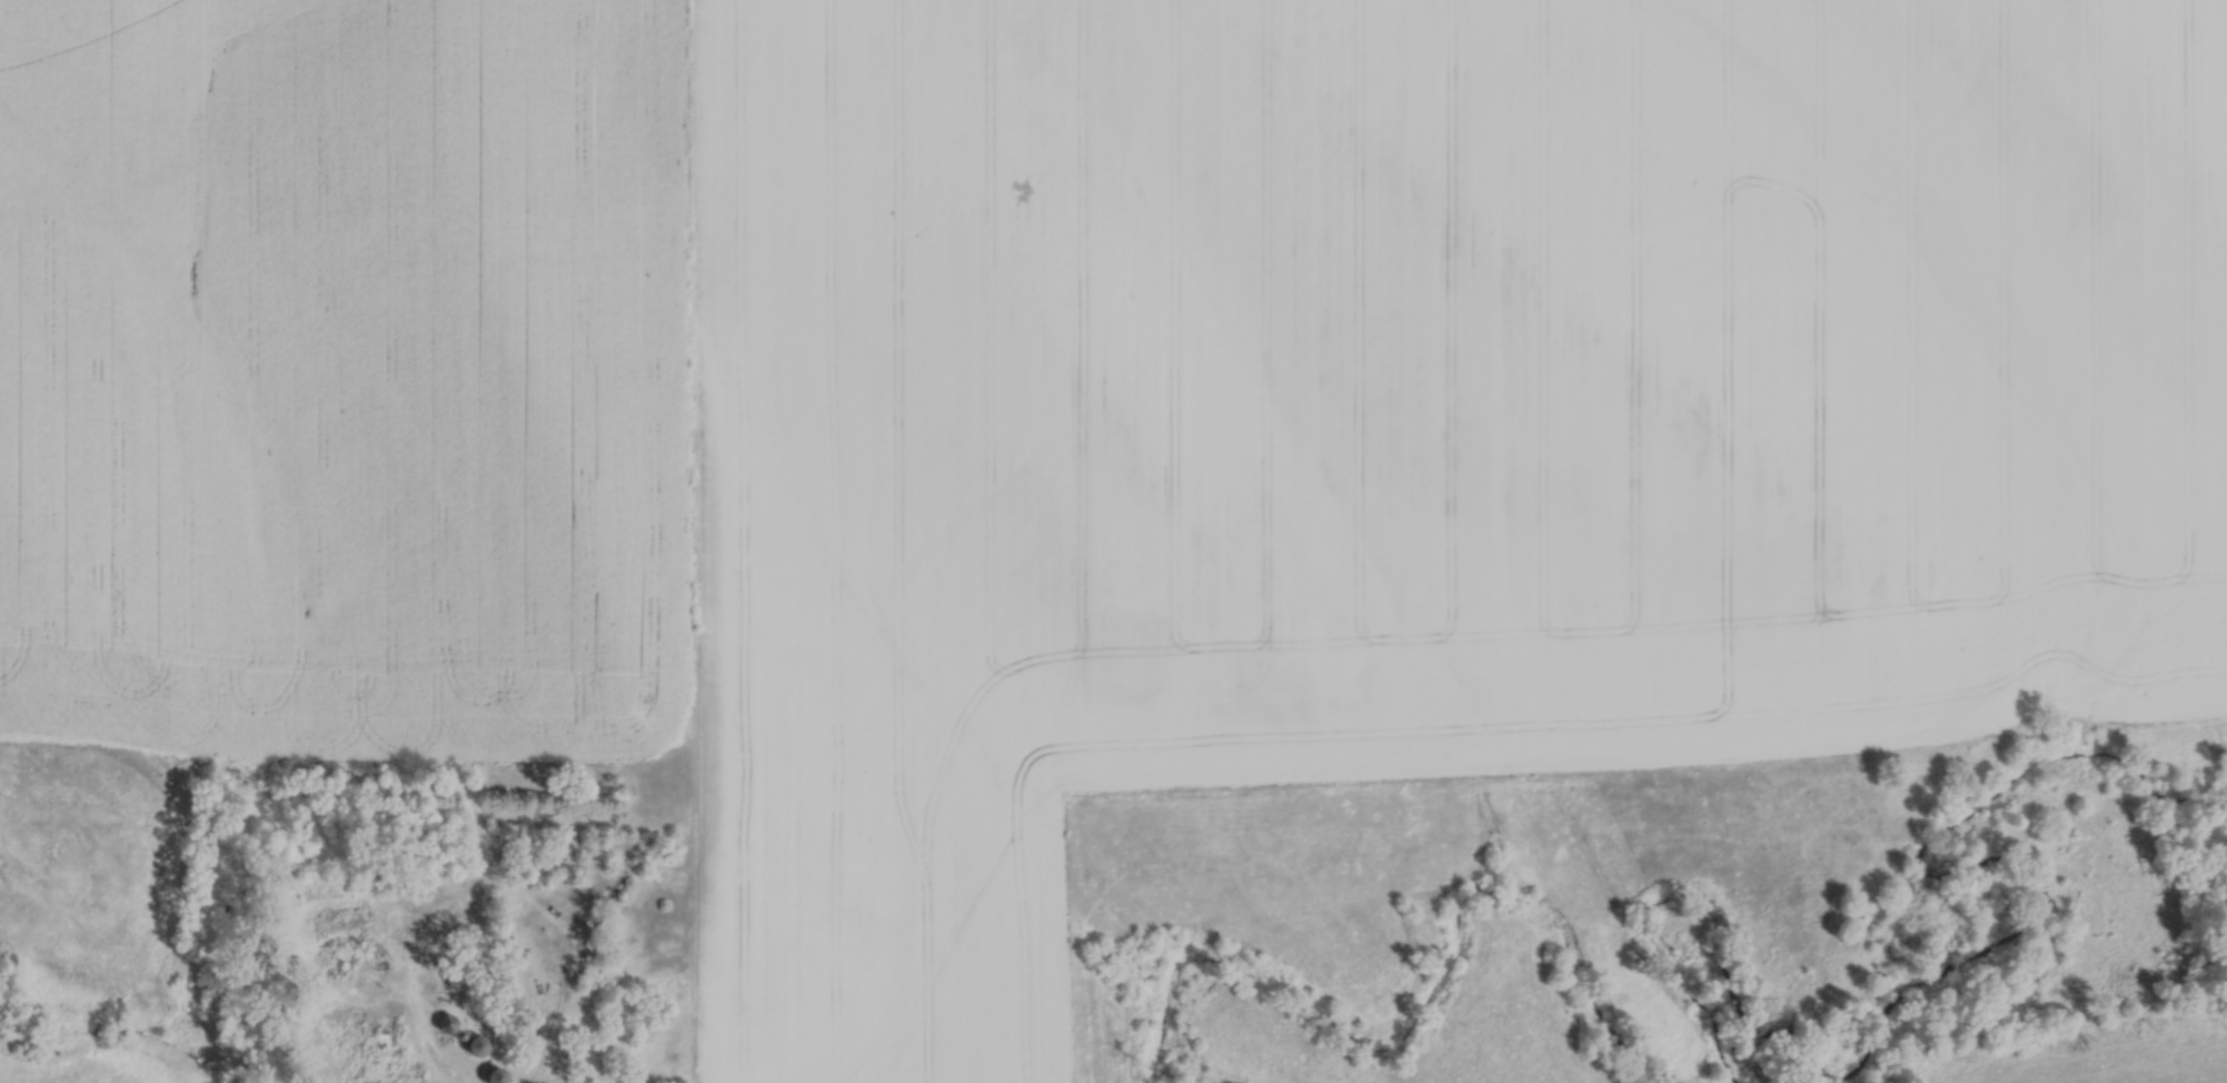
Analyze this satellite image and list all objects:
building: (445, 1021)
building: (474, 1043)
building: (493, 1074)

